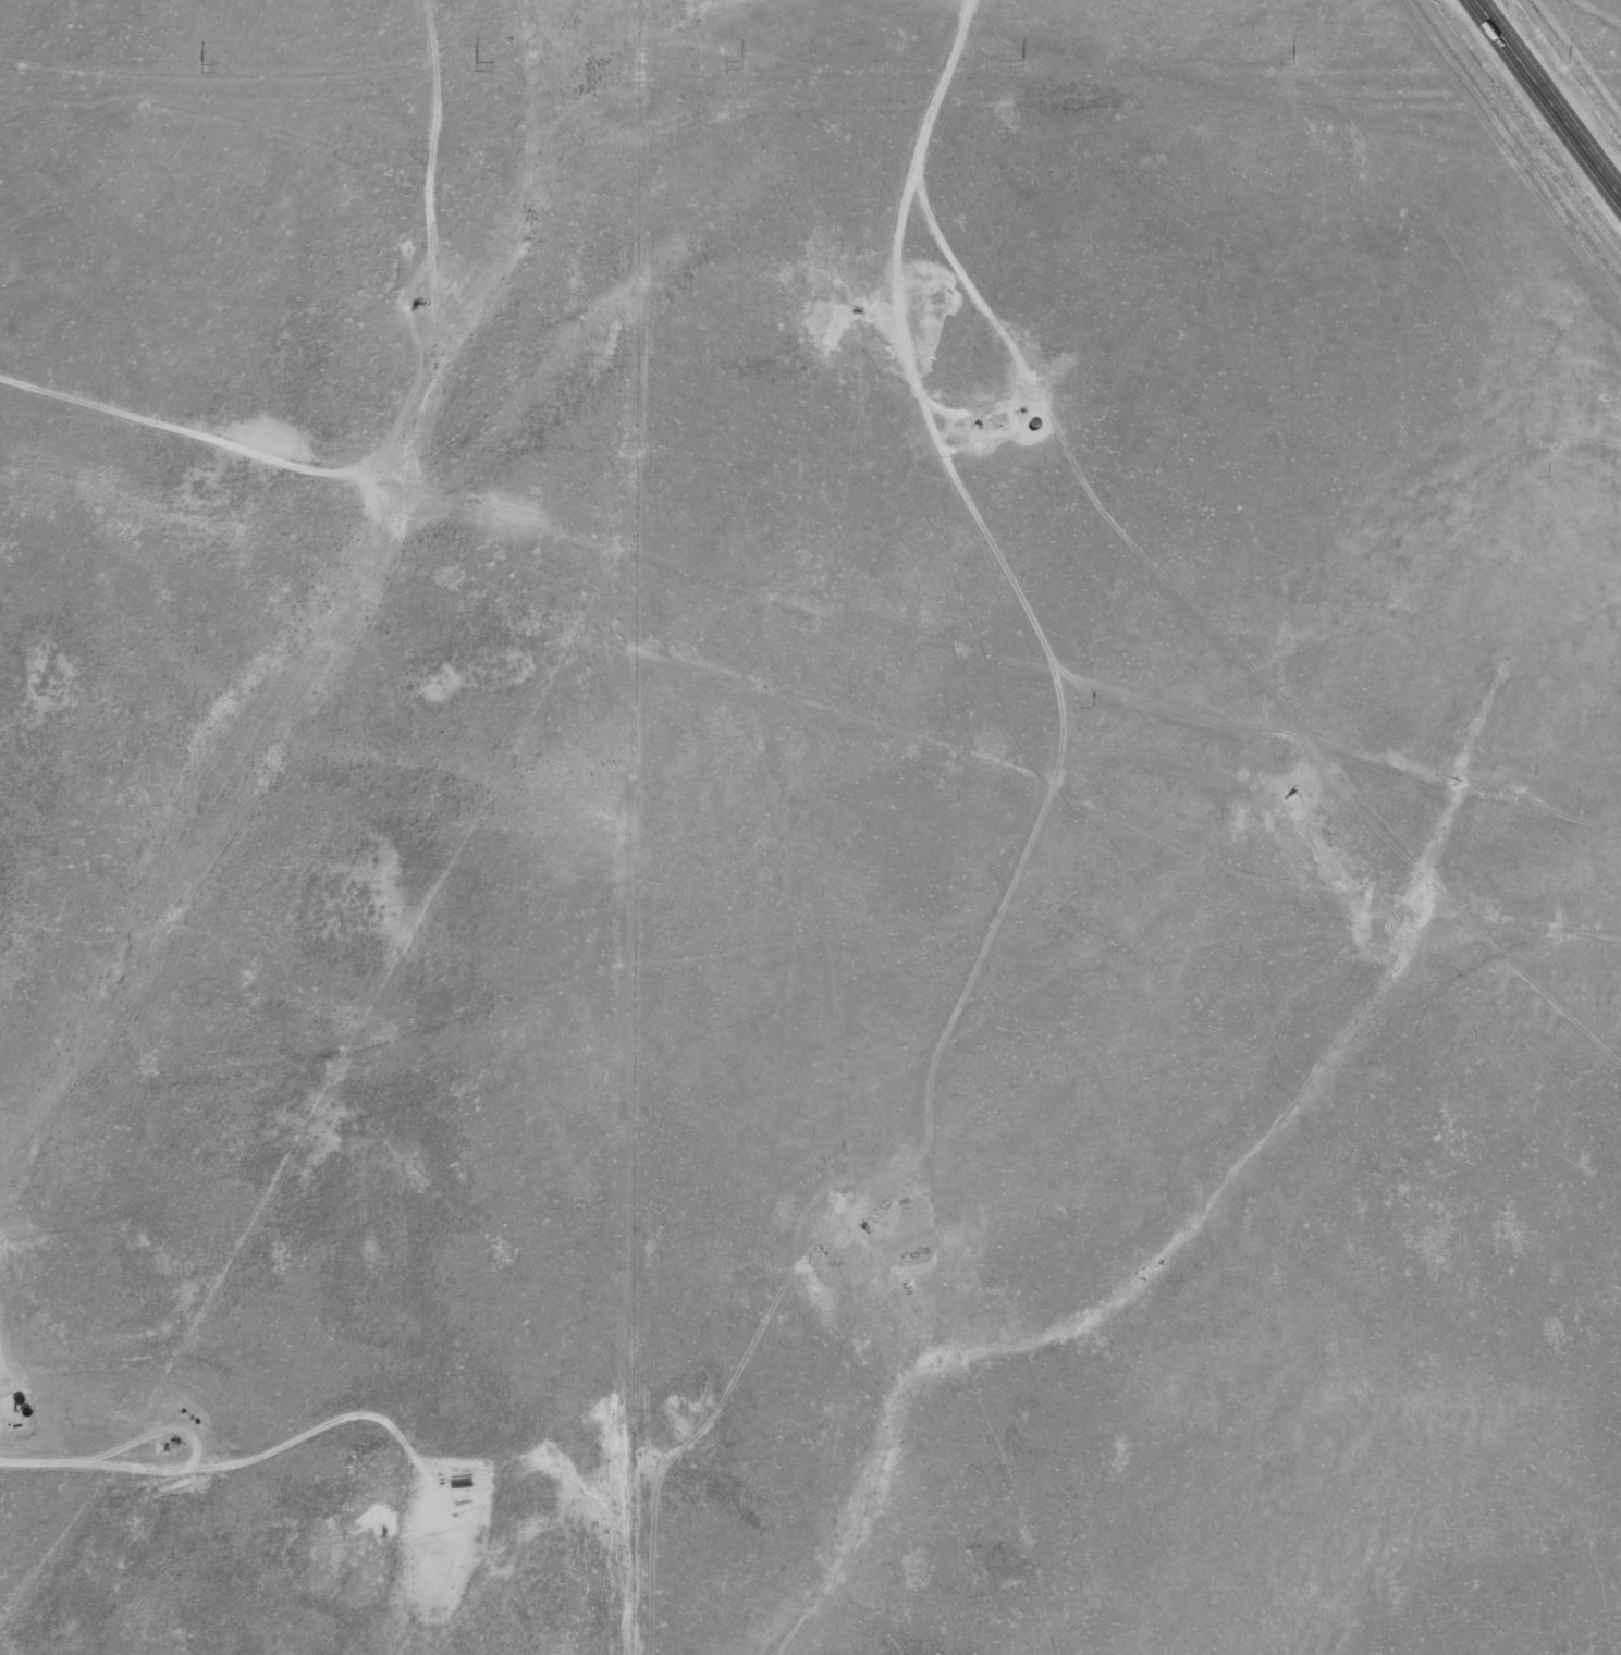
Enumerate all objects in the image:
power tower: (1569, 58)
power tower: (1290, 60)
power tower: (1020, 62)
power tower: (740, 63)
power tower: (474, 65)
power tower: (198, 66)
road: (1550, 96)
road: (439, 134)

